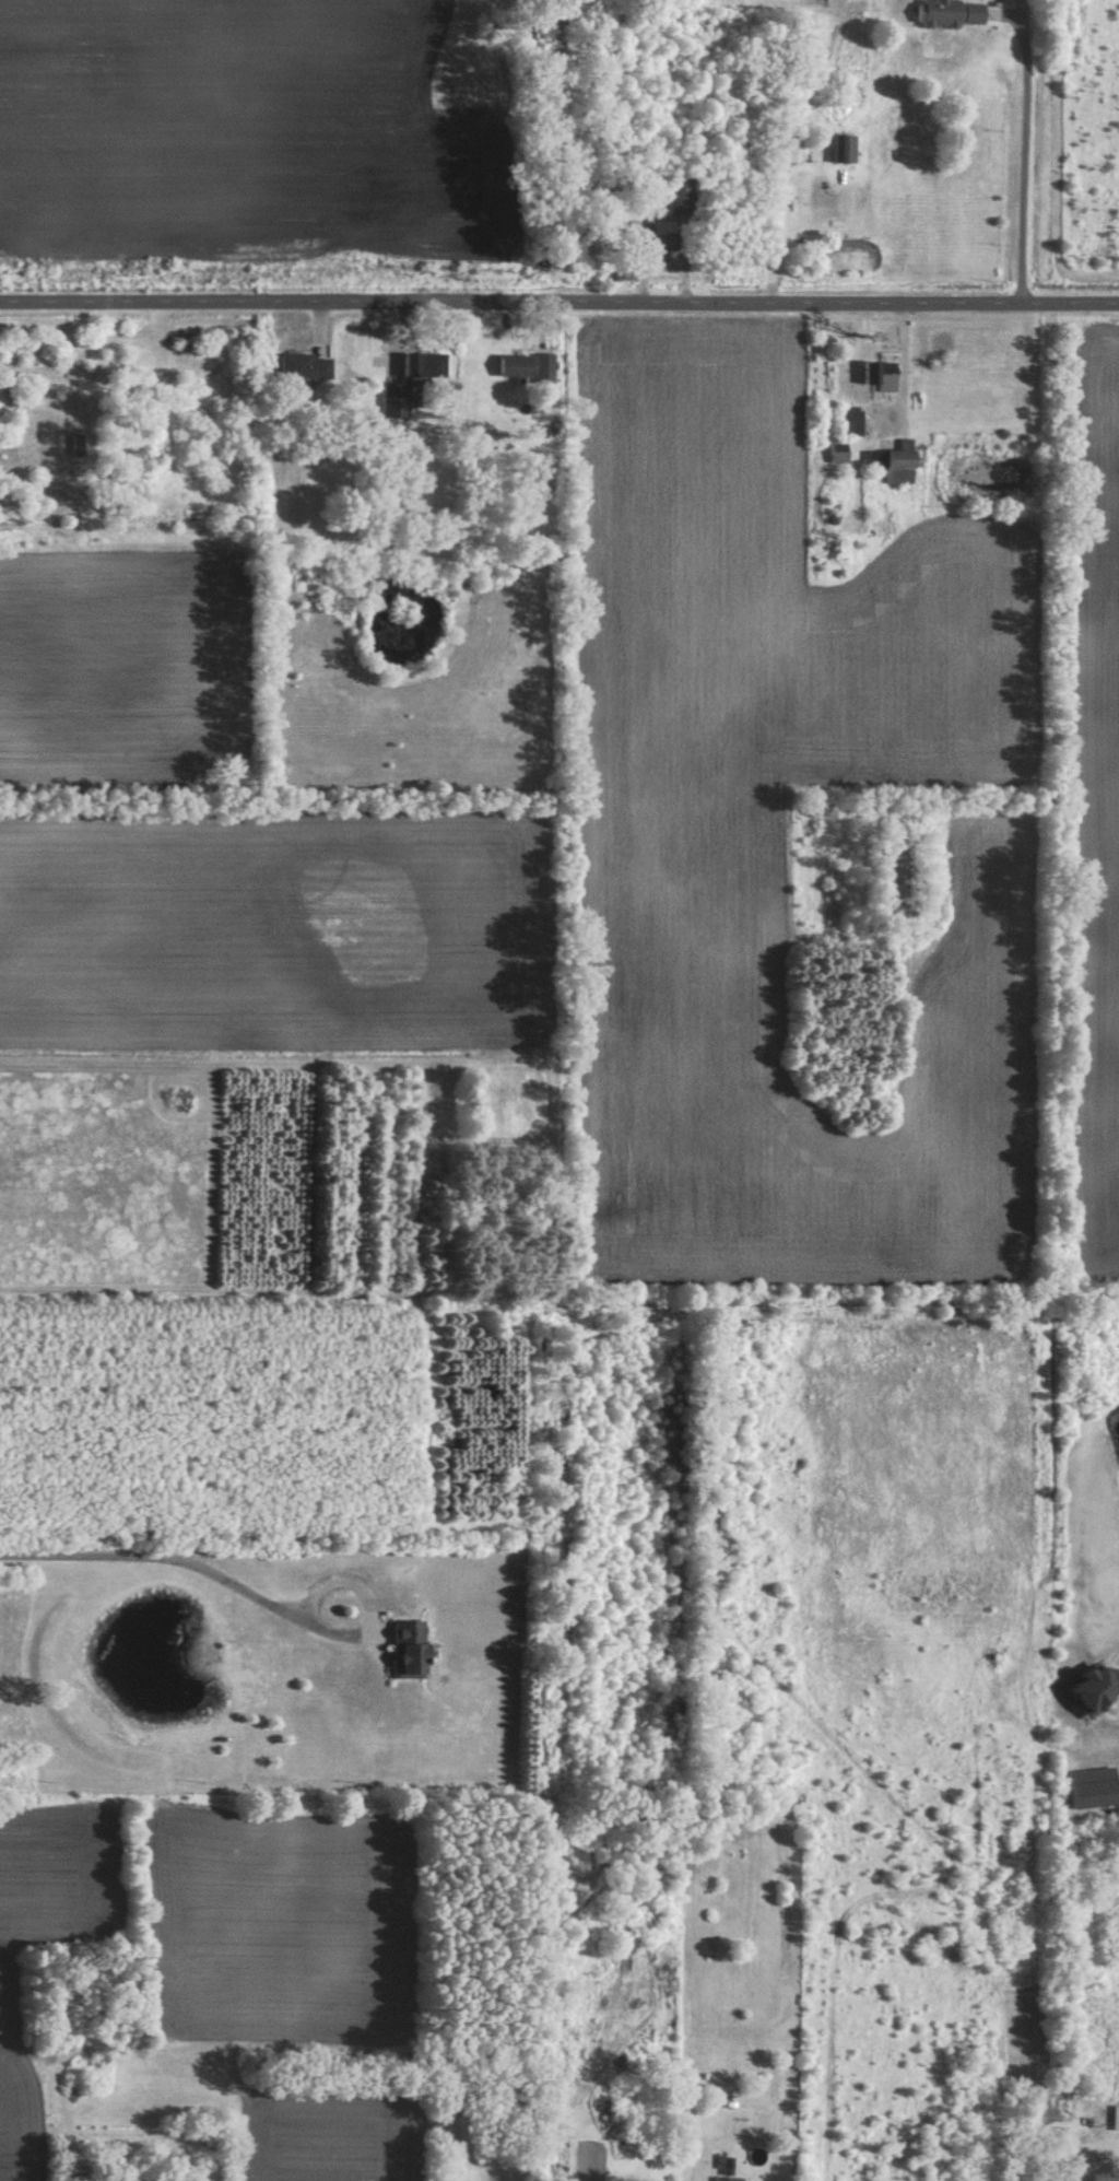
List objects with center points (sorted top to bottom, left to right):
building: (950, 12)
building: (844, 148)
road: (1021, 156)
building: (676, 192)
building: (659, 241)
road: (558, 303)
road: (898, 362)
building: (304, 364)
building: (520, 364)
building: (877, 374)
building: (393, 400)
building: (846, 421)
building: (893, 460)
road: (173, 1558)
building: (414, 1649)
building: (725, 2160)
building: (726, 2178)

